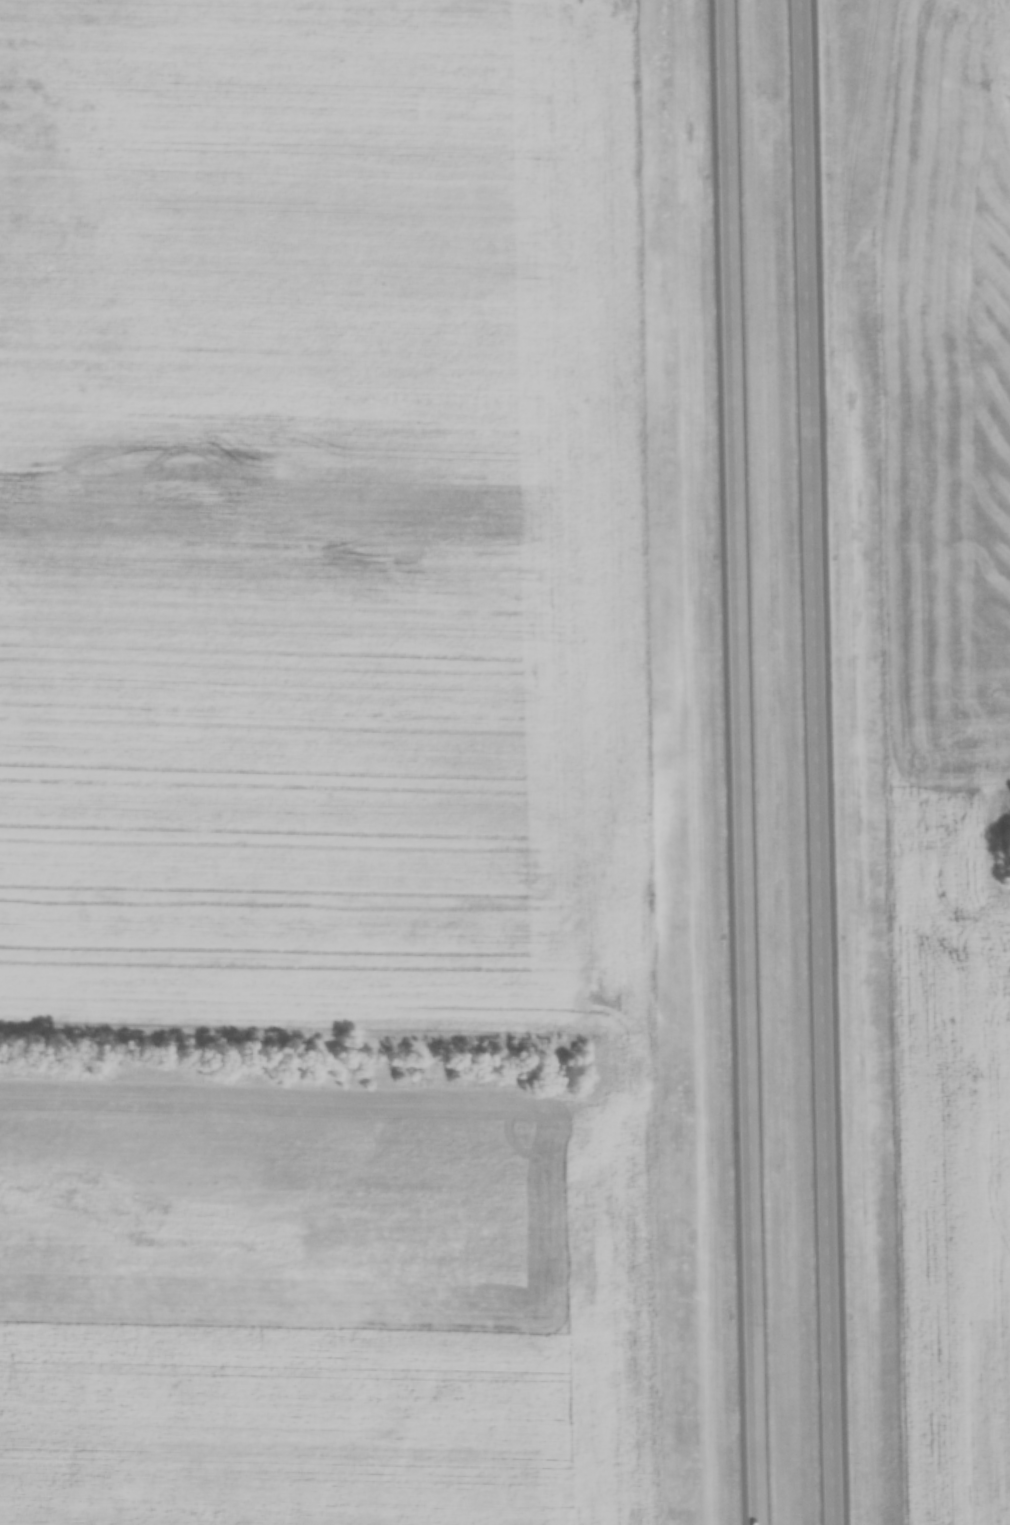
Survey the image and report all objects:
road: (748, 762)
road: (829, 762)

